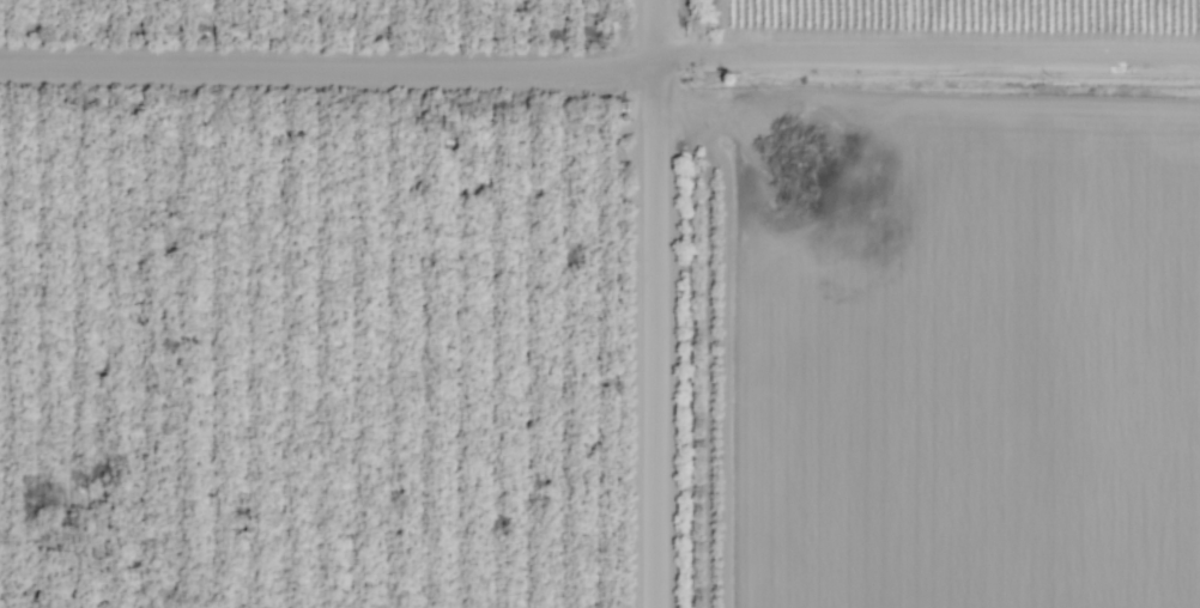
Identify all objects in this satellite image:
crop: (949, 328)

